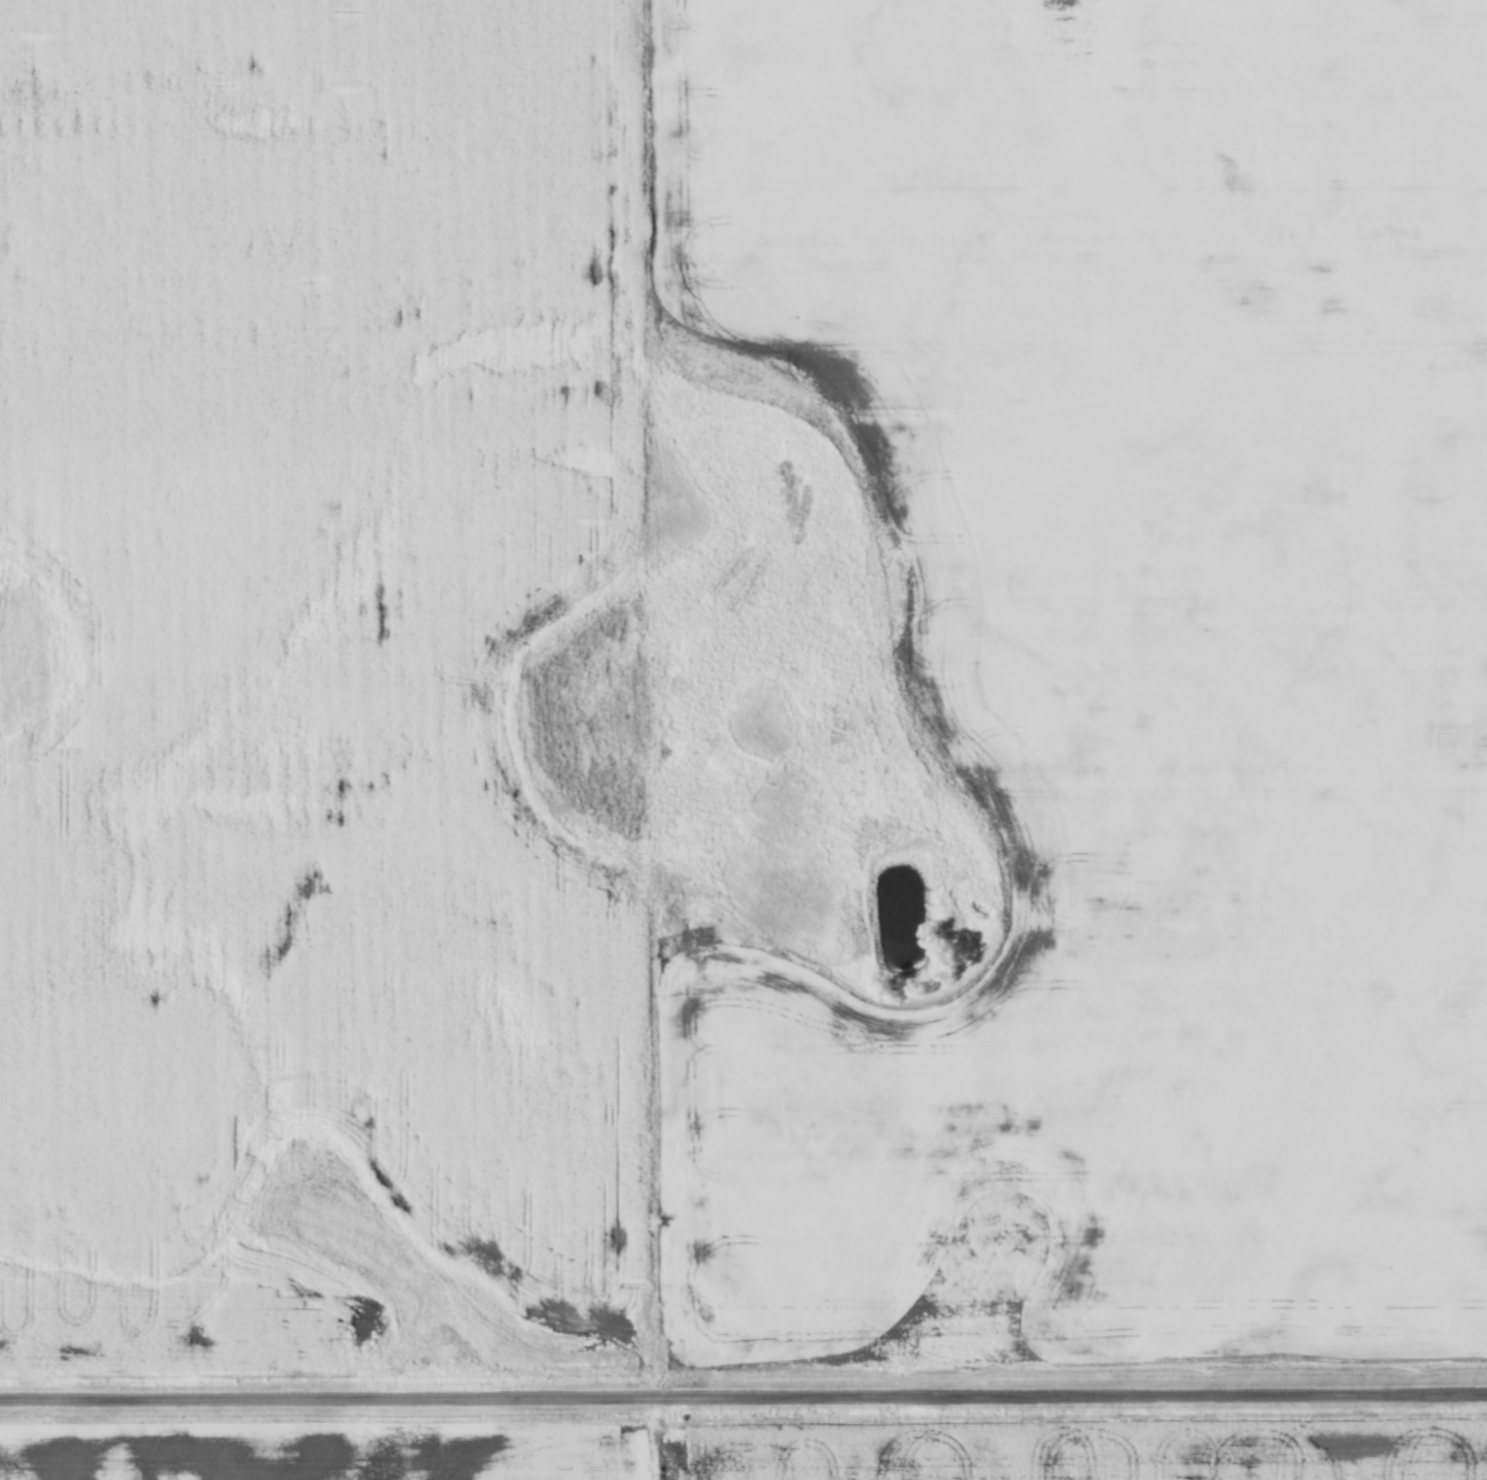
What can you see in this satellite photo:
road: (743, 1394)

